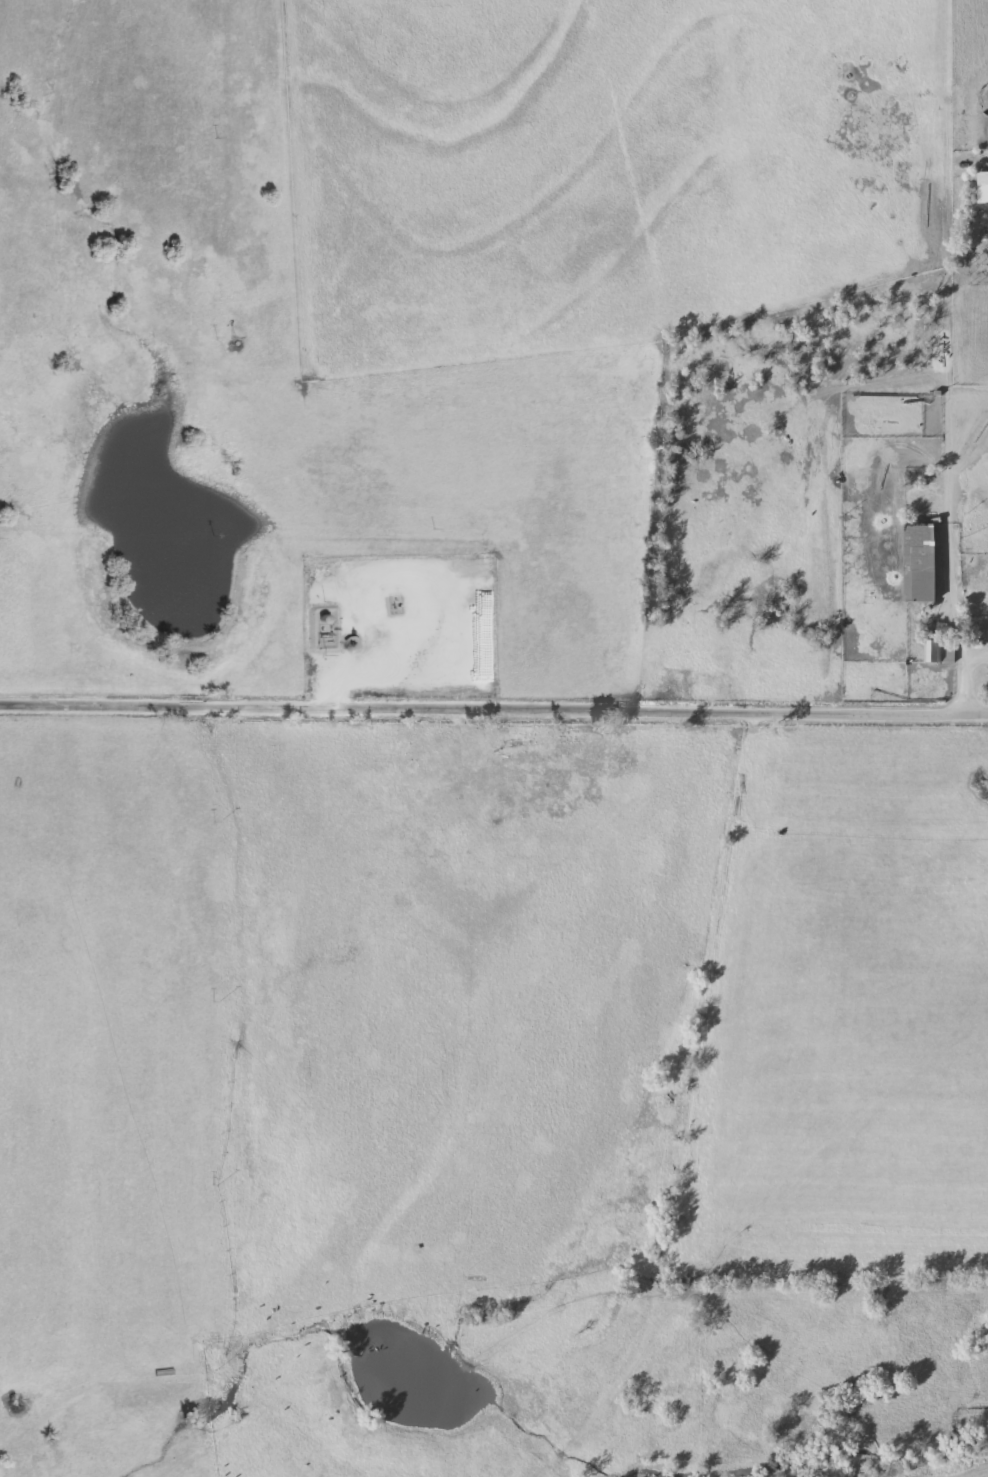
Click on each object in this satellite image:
road: (951, 551)
building: (923, 560)
building: (940, 649)
road: (494, 710)

